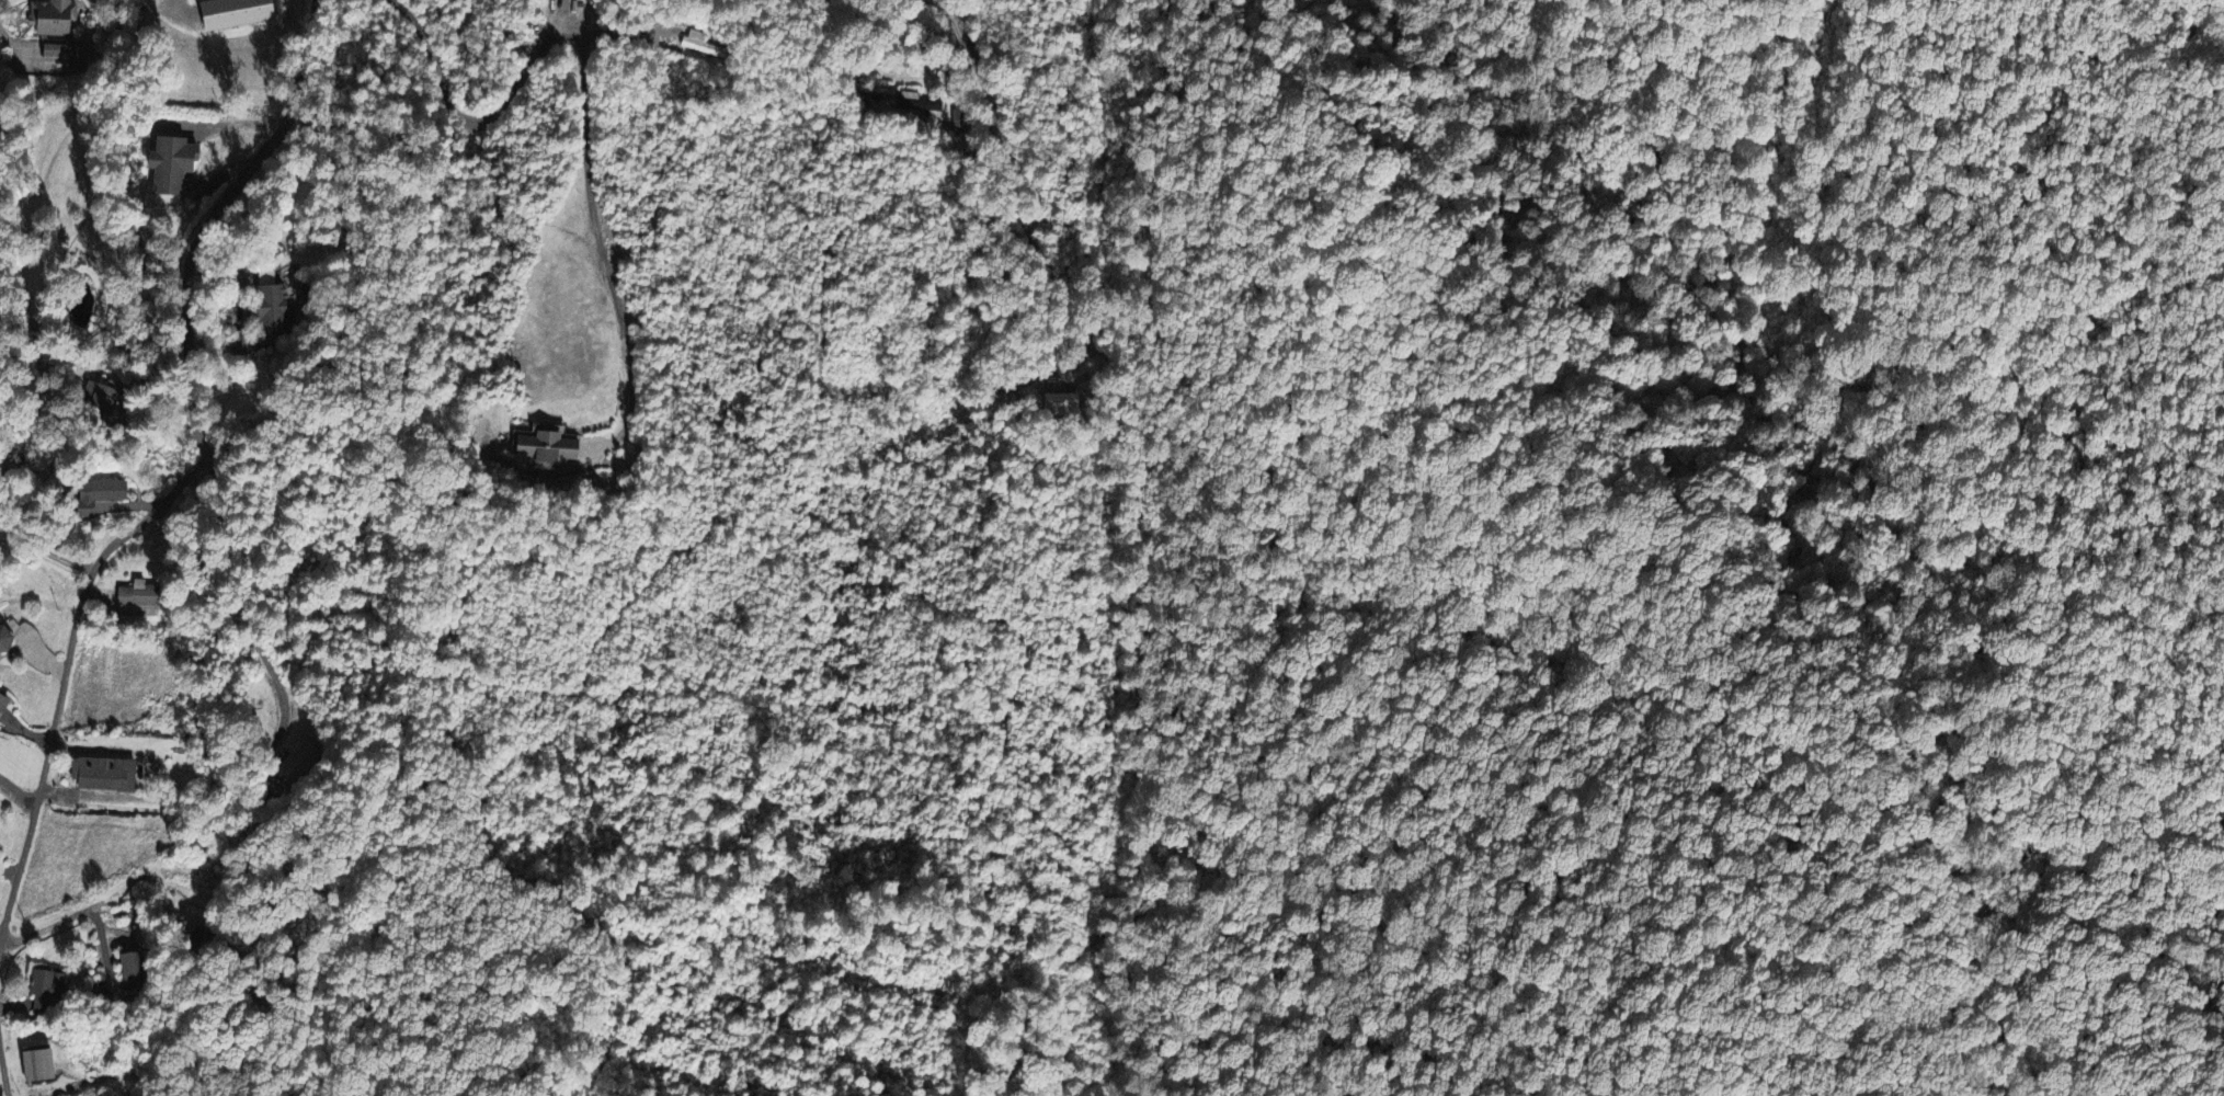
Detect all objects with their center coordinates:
road: (181, 7)
building: (231, 14)
building: (55, 18)
road: (626, 31)
road: (14, 42)
building: (697, 43)
building: (78, 52)
road: (586, 100)
building: (167, 167)
road: (1011, 178)
road: (216, 218)
building: (275, 304)
building: (546, 448)
road: (201, 461)
road: (194, 471)
building: (101, 495)
road: (46, 545)
building: (140, 598)
road: (248, 615)
building: (4, 642)
building: (2, 705)
building: (304, 758)
road: (43, 765)
building: (103, 776)
road: (50, 926)
building: (134, 969)
building: (48, 990)
building: (36, 1068)

